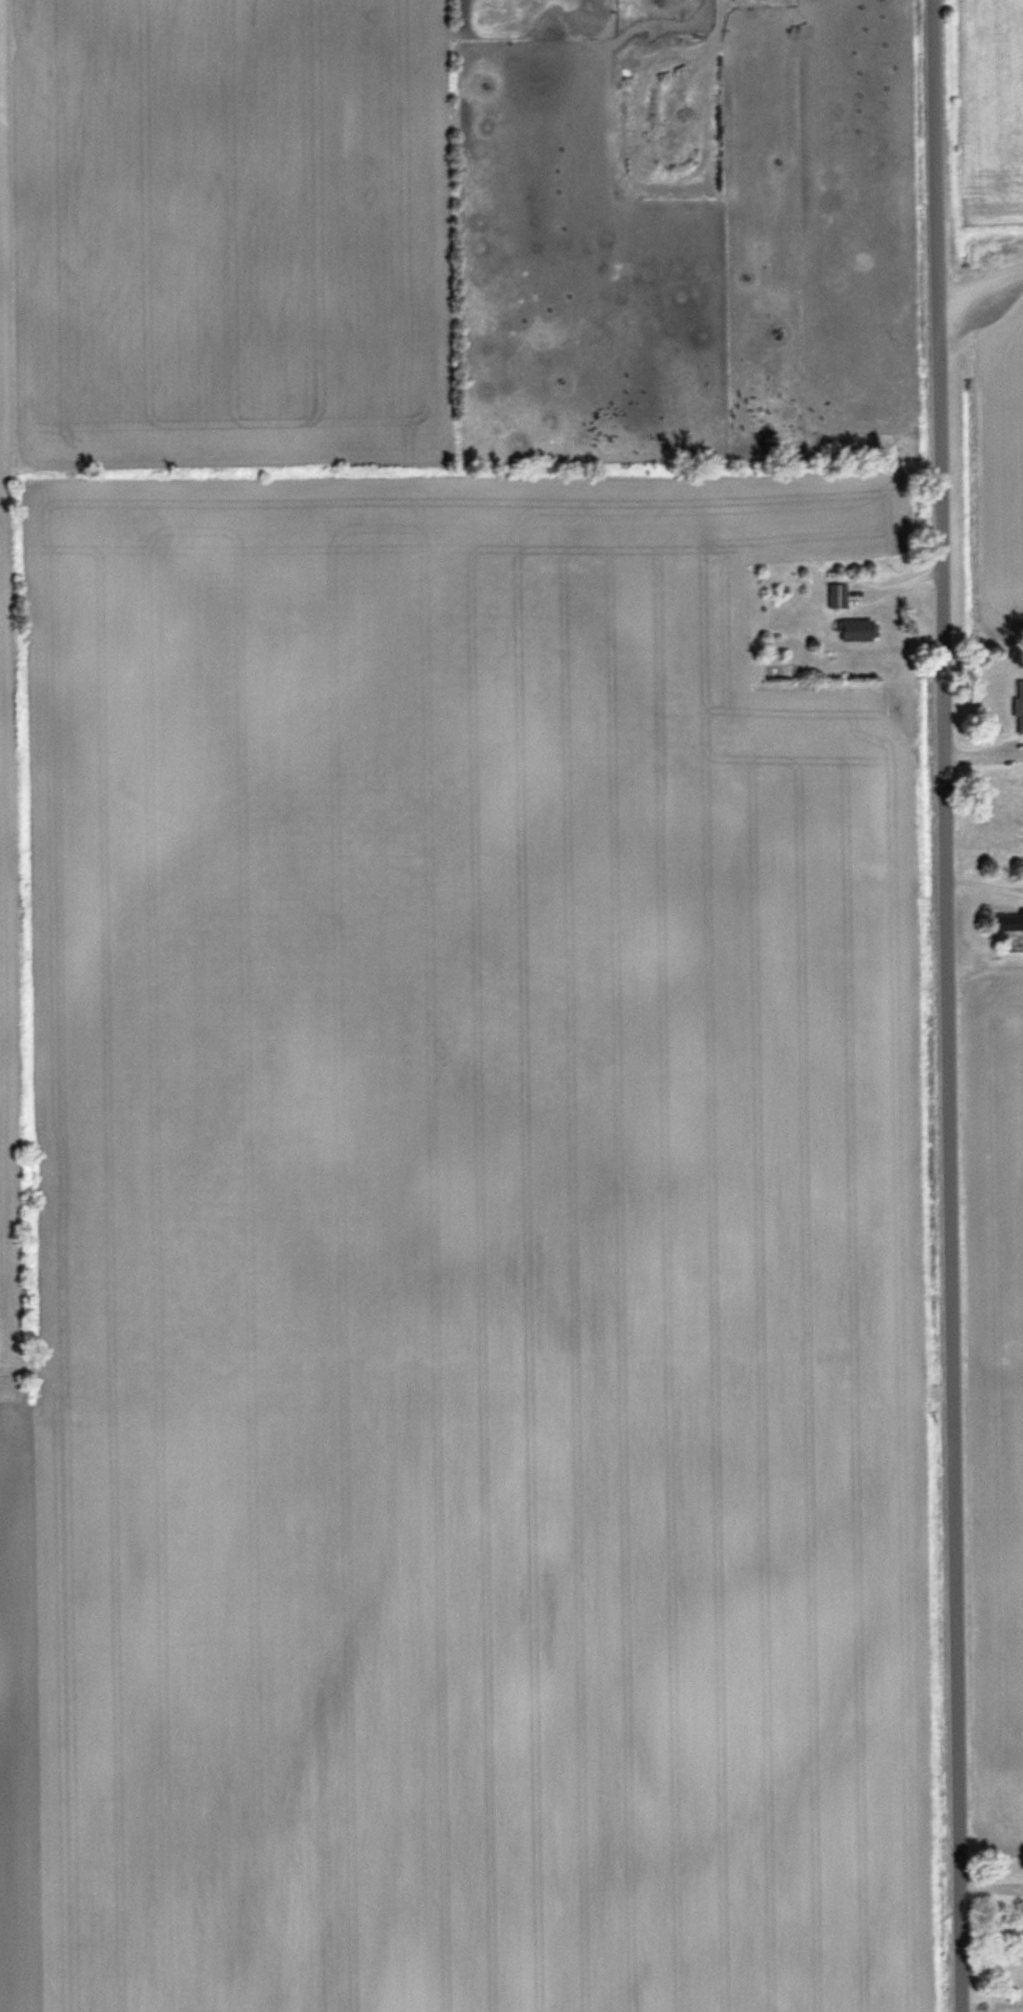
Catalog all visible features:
building: (838, 594)
building: (859, 628)
building: (1019, 705)
building: (1005, 924)
road: (948, 1006)

